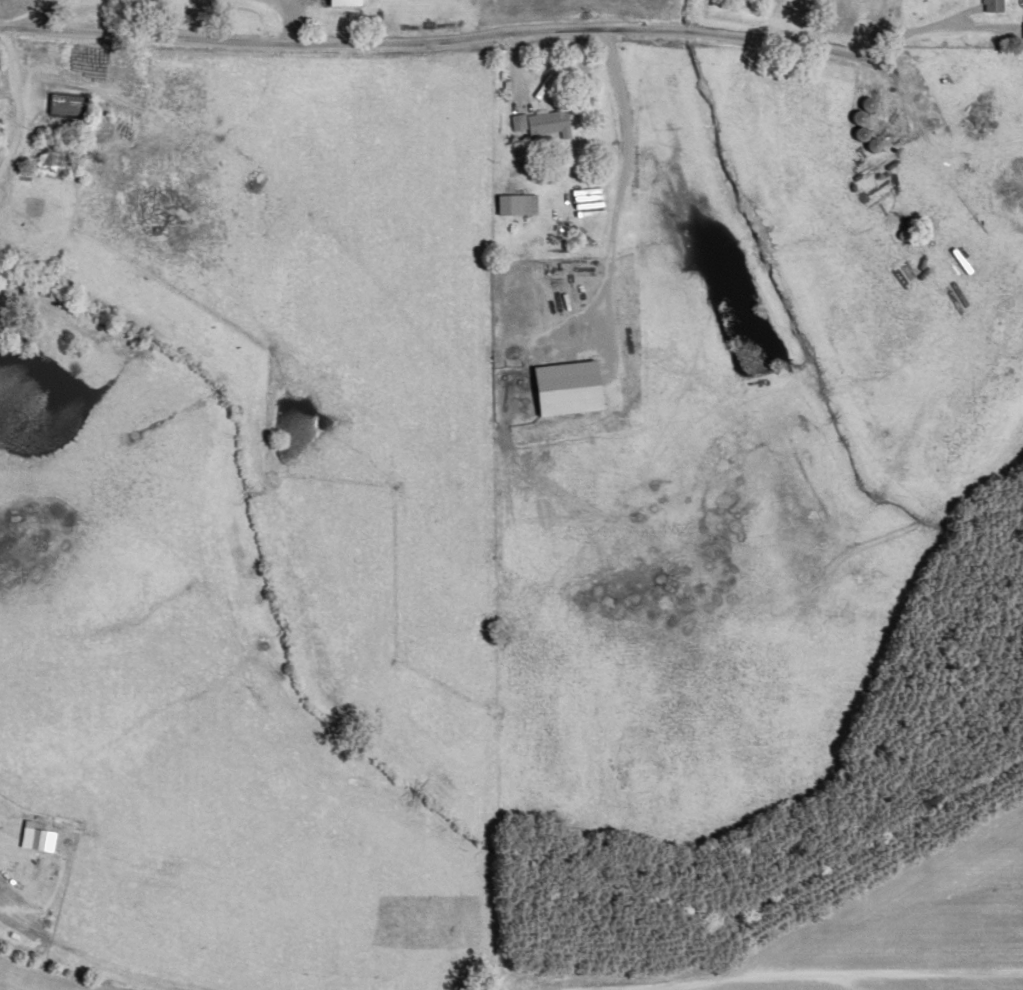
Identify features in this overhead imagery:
building: (348, 3)
building: (996, 6)
road: (565, 45)
building: (71, 106)
building: (541, 125)
building: (518, 205)
building: (966, 262)

